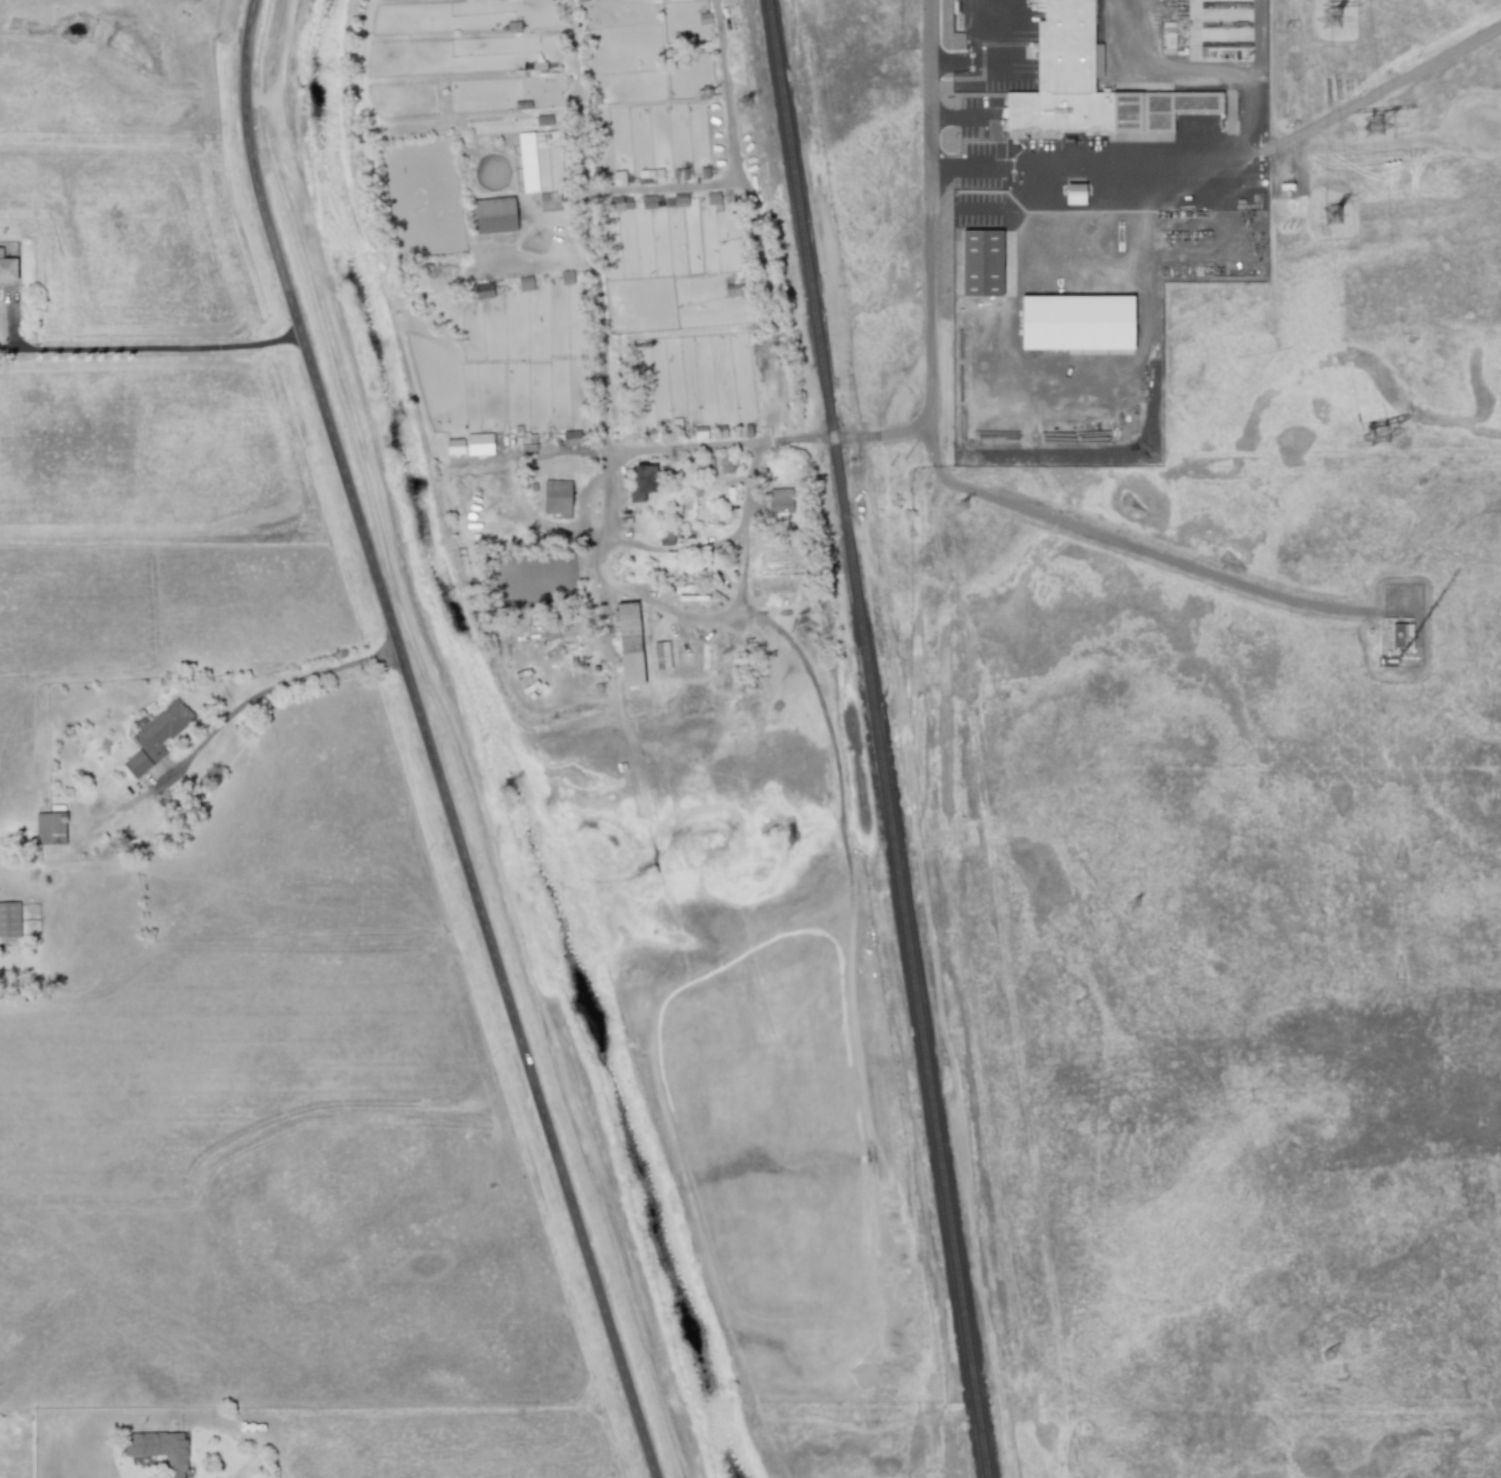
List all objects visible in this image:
power tower: (1332, 21)
building: (1167, 37)
road: (996, 62)
road: (1202, 65)
building: (1085, 85)
road: (1372, 96)
power tower: (744, 106)
power tower: (1374, 129)
road: (980, 145)
building: (546, 168)
road: (655, 191)
building: (1074, 193)
building: (679, 200)
building: (615, 204)
building: (494, 215)
road: (931, 217)
power tower: (1333, 217)
building: (980, 263)
building: (7, 268)
building: (525, 284)
building: (479, 290)
building: (1076, 322)
road: (138, 347)
road: (602, 423)
power tower: (1378, 436)
building: (641, 484)
road: (972, 490)
building: (556, 493)
building: (779, 503)
power tower: (962, 509)
road: (731, 617)
building: (1401, 635)
building: (629, 644)
building: (661, 655)
road: (273, 686)
building: (156, 737)
railway: (882, 738)
road: (426, 742)
building: (50, 828)
power tower: (1133, 907)
building: (9, 919)
power tower: (1336, 1375)
building: (159, 1449)

